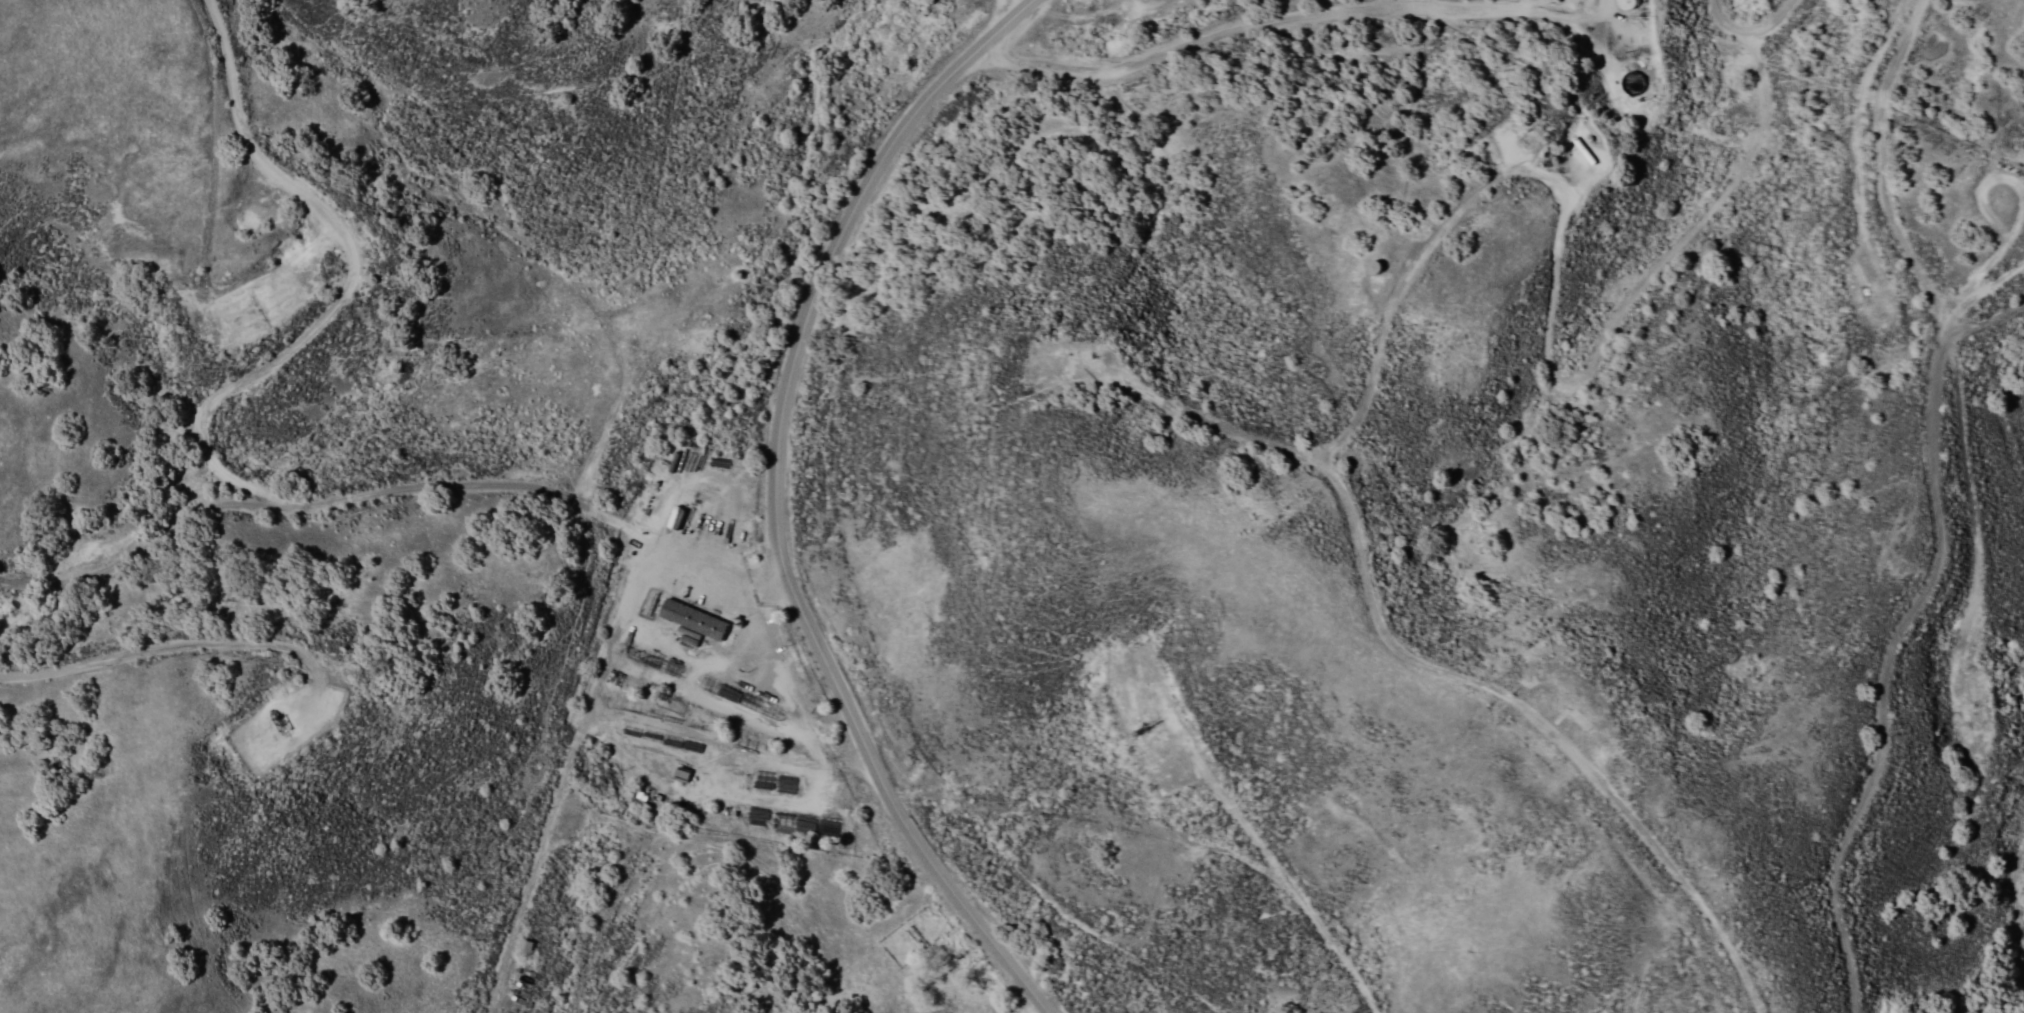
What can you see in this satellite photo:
road: (1016, 4)
road: (1266, 21)
road: (1746, 25)
road: (349, 279)
road: (1979, 295)
road: (1976, 338)
road: (395, 490)
road: (776, 504)
road: (1935, 510)
road: (1977, 560)
building: (690, 622)
road: (209, 641)
road: (1407, 654)
petroleum well: (273, 719)
petroleum well: (1138, 728)
road: (560, 772)
road: (714, 795)
road: (1288, 875)
road: (2020, 900)

